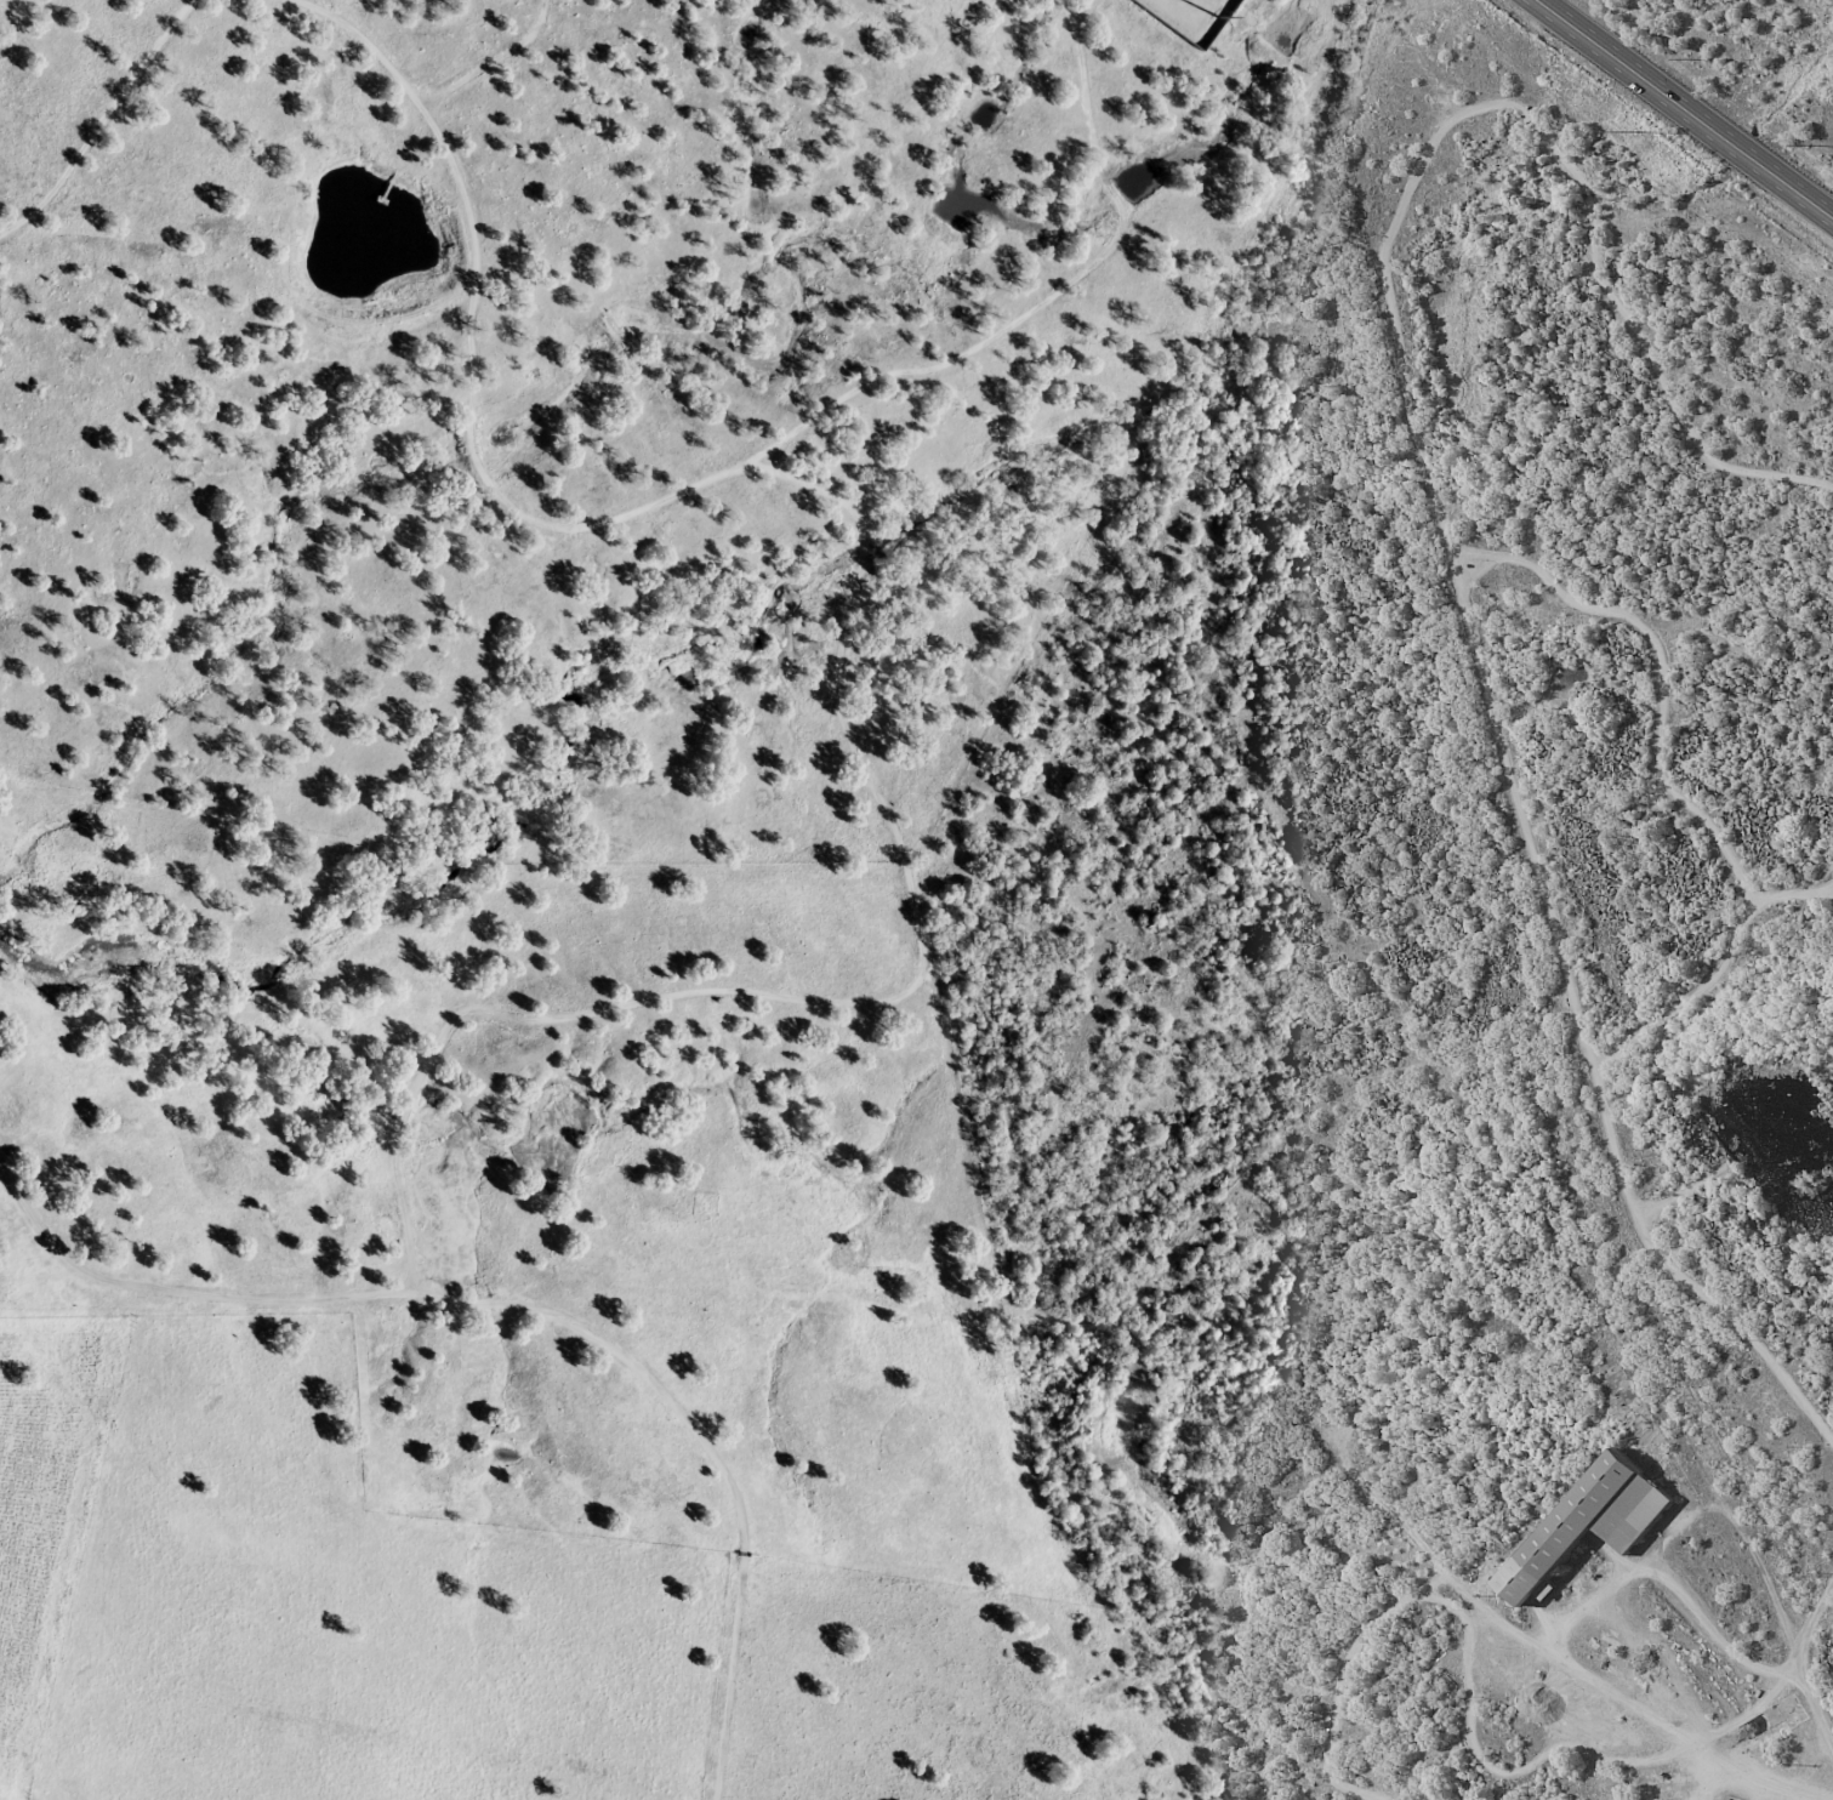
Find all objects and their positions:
power substation: (1190, 16)
road: (127, 53)
road: (1685, 109)
road: (323, 388)
railway: (1455, 604)
quarry: (1760, 1184)
road: (1736, 1496)
building: (1596, 1523)
road: (1710, 1628)
road: (1575, 1673)
road: (1744, 1714)

